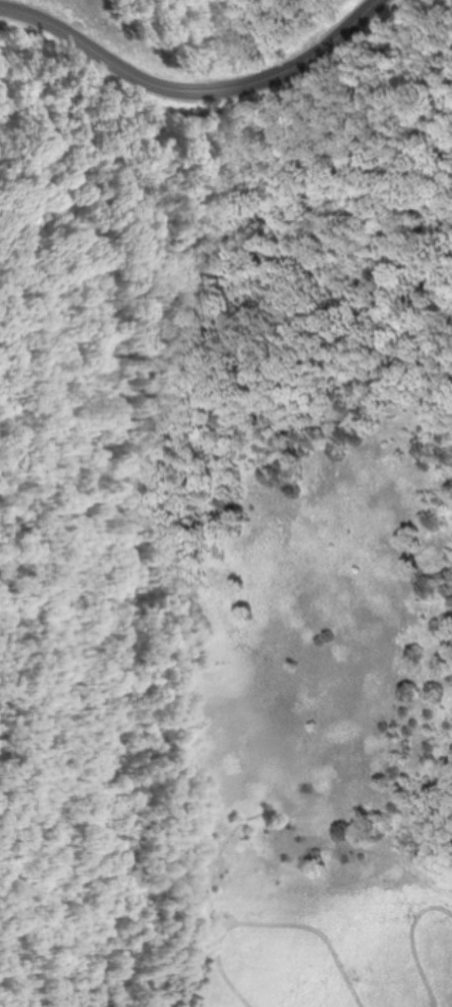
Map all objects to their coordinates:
road: (194, 92)
road: (210, 117)
road: (275, 209)
road: (231, 258)
road: (10, 438)
park: (225, 450)
road: (4, 626)

